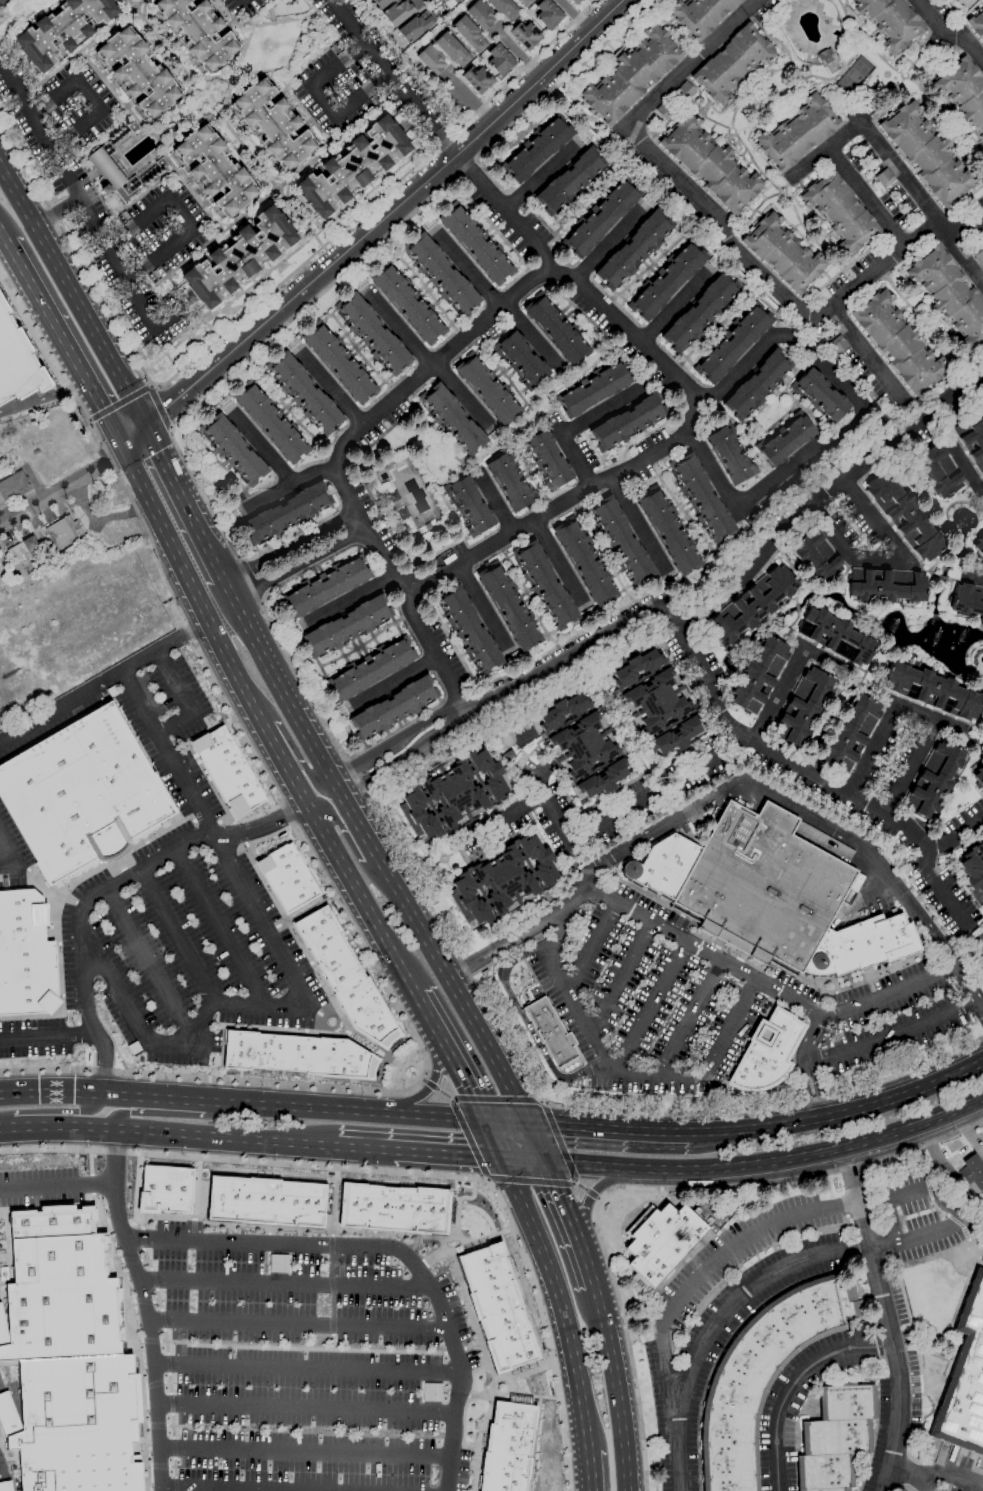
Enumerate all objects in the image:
road: (415, 0)
building: (450, 2)
building: (526, 2)
building: (575, 2)
building: (382, 3)
building: (504, 8)
road: (13, 10)
building: (398, 12)
road: (968, 13)
building: (480, 14)
building: (548, 14)
building: (701, 15)
building: (890, 21)
building: (416, 25)
building: (976, 25)
building: (62, 30)
building: (198, 31)
road: (957, 31)
building: (469, 34)
building: (525, 35)
building: (982, 45)
building: (452, 49)
building: (943, 49)
road: (518, 54)
building: (431, 59)
building: (499, 59)
building: (827, 60)
building: (733, 63)
road: (339, 66)
building: (138, 72)
building: (632, 75)
road: (393, 78)
building: (478, 79)
building: (685, 91)
building: (963, 93)
road: (87, 94)
road: (361, 96)
road: (53, 97)
road: (470, 99)
road: (322, 103)
building: (666, 110)
building: (273, 124)
building: (132, 127)
road: (74, 130)
building: (798, 133)
road: (845, 135)
building: (537, 149)
building: (926, 154)
building: (161, 163)
building: (710, 164)
road: (809, 164)
building: (352, 167)
building: (215, 170)
building: (111, 174)
building: (884, 178)
road: (543, 181)
building: (570, 181)
road: (77, 200)
road: (184, 211)
road: (55, 212)
building: (839, 212)
road: (505, 215)
building: (601, 218)
road: (139, 221)
road: (374, 226)
road: (2, 235)
road: (729, 238)
road: (616, 240)
building: (476, 244)
building: (633, 250)
road: (160, 253)
building: (783, 253)
building: (978, 255)
road: (967, 256)
building: (238, 257)
road: (468, 268)
building: (441, 274)
building: (667, 281)
building: (950, 295)
road: (73, 297)
road: (263, 299)
building: (407, 303)
road: (678, 306)
building: (700, 312)
road: (394, 323)
road: (27, 328)
building: (556, 330)
road: (636, 331)
building: (373, 333)
road: (530, 337)
building: (823, 342)
road: (64, 343)
building: (898, 343)
building: (734, 344)
building: (838, 344)
road: (871, 352)
building: (521, 360)
building: (17, 361)
building: (339, 363)
building: (757, 385)
road: (150, 386)
road: (330, 388)
building: (593, 389)
building: (488, 390)
building: (304, 393)
road: (458, 395)
building: (820, 396)
road: (43, 398)
road: (120, 404)
road: (158, 407)
road: (90, 419)
building: (452, 419)
building: (271, 422)
road: (849, 422)
building: (627, 423)
road: (170, 426)
road: (570, 426)
traffic signals: (144, 428)
building: (971, 438)
building: (785, 439)
road: (257, 444)
traffic signals: (122, 449)
building: (234, 449)
building: (730, 453)
road: (957, 455)
building: (548, 459)
building: (938, 471)
road: (290, 480)
building: (510, 482)
building: (14, 487)
road: (62, 488)
road: (127, 494)
building: (393, 496)
road: (827, 497)
building: (701, 498)
road: (495, 499)
road: (183, 504)
building: (470, 506)
building: (286, 512)
building: (403, 514)
building: (904, 515)
road: (100, 521)
road: (638, 526)
building: (669, 530)
building: (62, 532)
building: (621, 541)
building: (979, 545)
building: (23, 549)
road: (386, 553)
road: (297, 554)
building: (816, 556)
road: (560, 561)
building: (585, 561)
road: (911, 567)
building: (545, 585)
building: (885, 586)
building: (326, 587)
road: (192, 588)
road: (351, 599)
building: (967, 601)
road: (485, 606)
building: (509, 606)
building: (751, 606)
building: (347, 626)
building: (469, 630)
building: (835, 636)
road: (574, 645)
road: (432, 649)
building: (635, 666)
building: (371, 669)
building: (759, 675)
road: (789, 675)
road: (394, 682)
road: (104, 683)
road: (276, 684)
road: (303, 686)
building: (931, 690)
road: (184, 699)
building: (656, 702)
building: (802, 707)
building: (393, 708)
building: (561, 709)
road: (917, 713)
street lamp: (233, 720)
parking lot: (53, 727)
building: (851, 733)
building: (676, 736)
road: (394, 739)
building: (582, 745)
road: (275, 747)
road: (169, 754)
road: (404, 755)
building: (229, 772)
building: (488, 773)
road: (806, 776)
building: (979, 776)
road: (310, 777)
building: (602, 779)
building: (933, 780)
road: (297, 785)
building: (454, 793)
building: (81, 794)
street lamp: (278, 799)
road: (785, 805)
street lamp: (263, 812)
building: (418, 814)
road: (354, 821)
road: (602, 821)
road: (345, 836)
building: (980, 847)
parking lot: (12, 854)
building: (538, 859)
road: (134, 872)
building: (972, 872)
street lamp: (321, 875)
building: (288, 878)
building: (504, 879)
road: (41, 886)
road: (939, 887)
street lamp: (66, 890)
road: (877, 892)
building: (769, 895)
road: (361, 899)
building: (468, 900)
road: (319, 901)
building: (20, 908)
parking lot: (172, 916)
road: (219, 928)
building: (21, 934)
road: (178, 934)
road: (519, 935)
road: (590, 946)
street lamp: (59, 952)
road: (59, 956)
road: (148, 960)
street lamp: (375, 969)
building: (346, 976)
building: (26, 977)
building: (982, 978)
road: (622, 979)
road: (964, 982)
building: (982, 983)
road: (453, 988)
street lamp: (96, 989)
road: (778, 992)
parking lot: (718, 998)
road: (248, 1004)
road: (333, 1004)
road: (651, 1005)
road: (979, 1005)
road: (42, 1016)
road: (689, 1017)
road: (524, 1021)
street lamp: (70, 1024)
street lamp: (408, 1026)
street lamp: (296, 1031)
building: (551, 1033)
road: (83, 1034)
road: (47, 1036)
road: (414, 1036)
road: (891, 1036)
street lamp: (404, 1039)
street lamp: (119, 1041)
road: (397, 1043)
street lamp: (398, 1043)
road: (374, 1045)
building: (132, 1047)
road: (362, 1047)
street lamp: (392, 1048)
road: (102, 1050)
street lamp: (417, 1050)
building: (767, 1053)
building: (297, 1055)
road: (450, 1057)
road: (93, 1058)
street lamp: (420, 1059)
street lamp: (73, 1063)
street lamp: (414, 1063)
street lamp: (402, 1064)
road: (413, 1065)
road: (805, 1065)
street lamp: (380, 1066)
road: (624, 1069)
street lamp: (399, 1070)
road: (377, 1074)
street lamp: (378, 1074)
road: (404, 1078)
road: (418, 1078)
street lamp: (402, 1080)
street lamp: (377, 1082)
road: (102, 1084)
street lamp: (260, 1085)
street lamp: (392, 1088)
street lamp: (403, 1088)
road: (426, 1088)
road: (50, 1092)
street lamp: (361, 1092)
road: (154, 1098)
road: (477, 1100)
road: (541, 1101)
road: (366, 1111)
road: (55, 1112)
road: (201, 1114)
road: (844, 1114)
traffic signals: (485, 1121)
traffic signals: (527, 1124)
road: (58, 1126)
road: (612, 1129)
road: (226, 1137)
road: (468, 1138)
road: (493, 1139)
road: (536, 1143)
building: (982, 1146)
road: (366, 1149)
road: (564, 1153)
road: (448, 1154)
traffic signals: (501, 1158)
traffic signals: (545, 1162)
road: (746, 1164)
road: (406, 1171)
building: (972, 1171)
road: (487, 1179)
road: (531, 1181)
road: (56, 1188)
road: (644, 1188)
building: (166, 1190)
road: (934, 1190)
road: (591, 1196)
road: (597, 1199)
building: (266, 1201)
building: (394, 1208)
road: (890, 1218)
road: (572, 1223)
building: (660, 1242)
road: (390, 1248)
road: (285, 1282)
building: (59, 1287)
road: (559, 1300)
road: (144, 1307)
building: (498, 1307)
road: (886, 1318)
road: (296, 1323)
parking lot: (695, 1331)
parking lot: (309, 1362)
road: (307, 1367)
building: (762, 1376)
building: (965, 1379)
road: (796, 1383)
road: (615, 1388)
road: (306, 1407)
building: (78, 1424)
building: (835, 1437)
building: (508, 1447)
road: (305, 1452)
road: (685, 1456)
road: (908, 1469)
road: (588, 1472)
road: (956, 1480)
road: (926, 1482)
road: (226, 1488)

